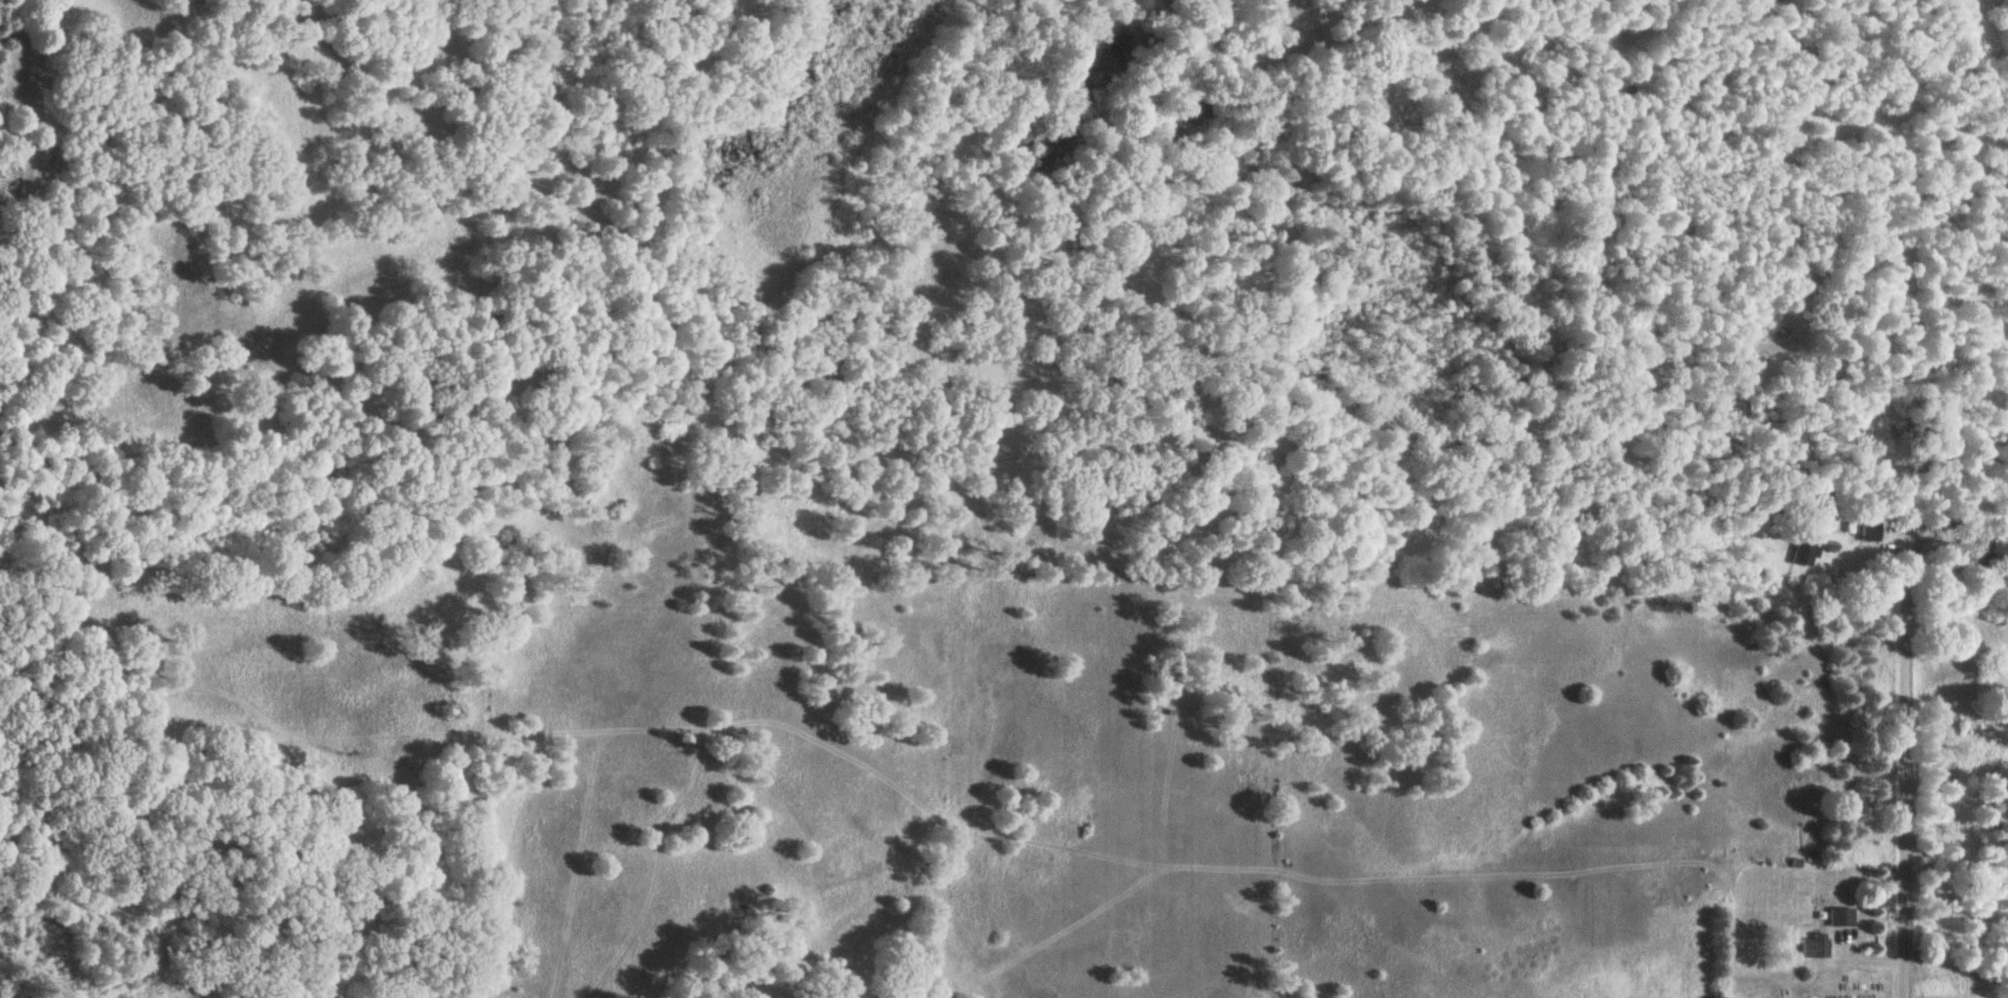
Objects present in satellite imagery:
building: (1870, 532)
building: (1804, 549)
road: (1898, 789)
building: (1841, 918)
building: (1814, 948)

